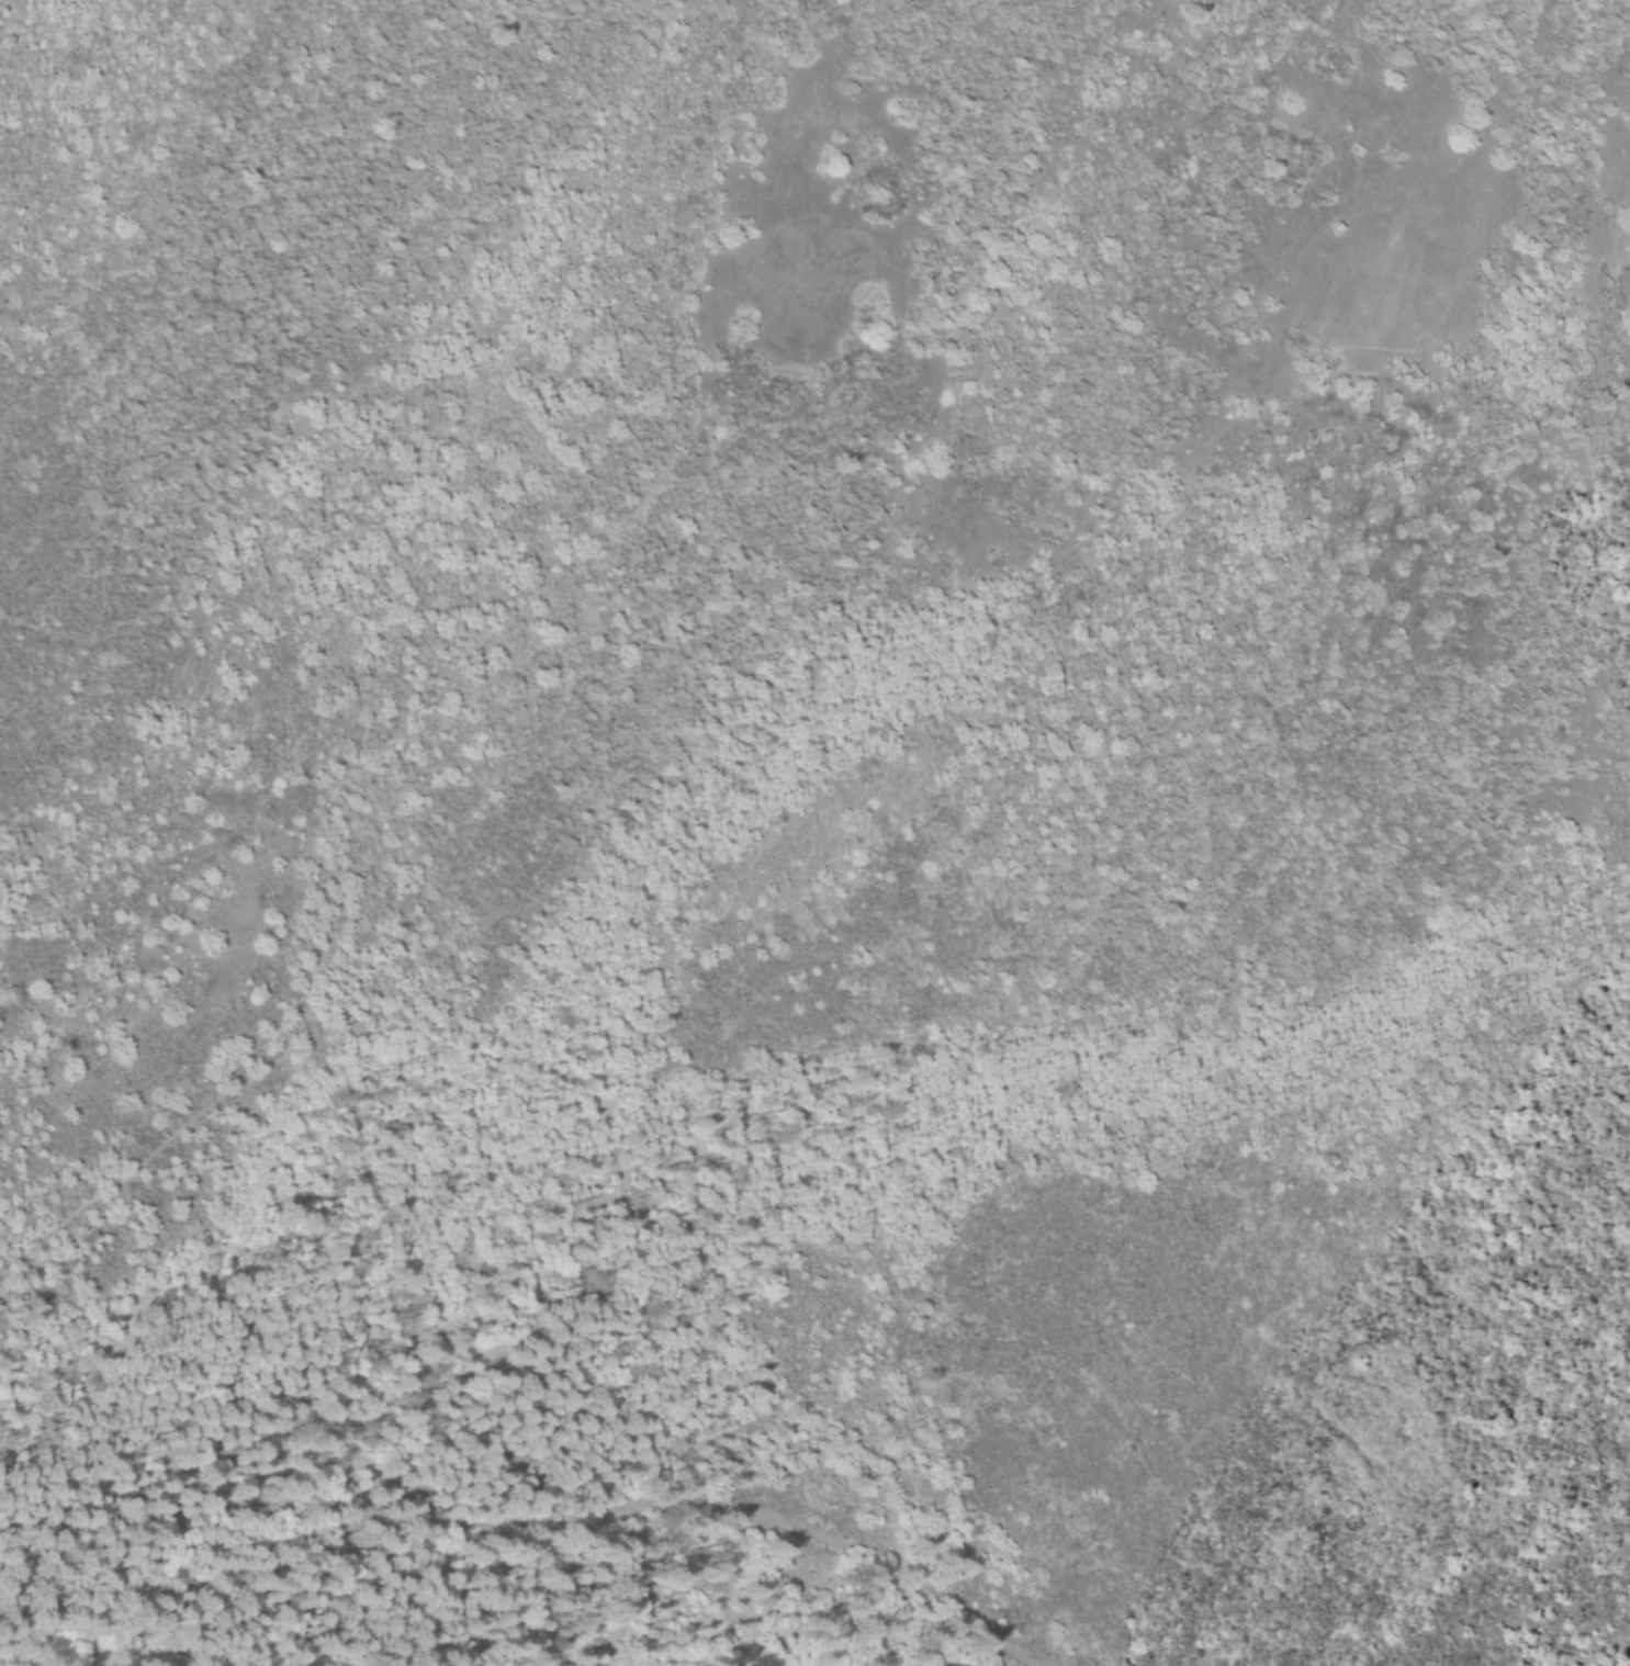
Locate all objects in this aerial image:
road: (398, 1324)
road: (529, 1496)

